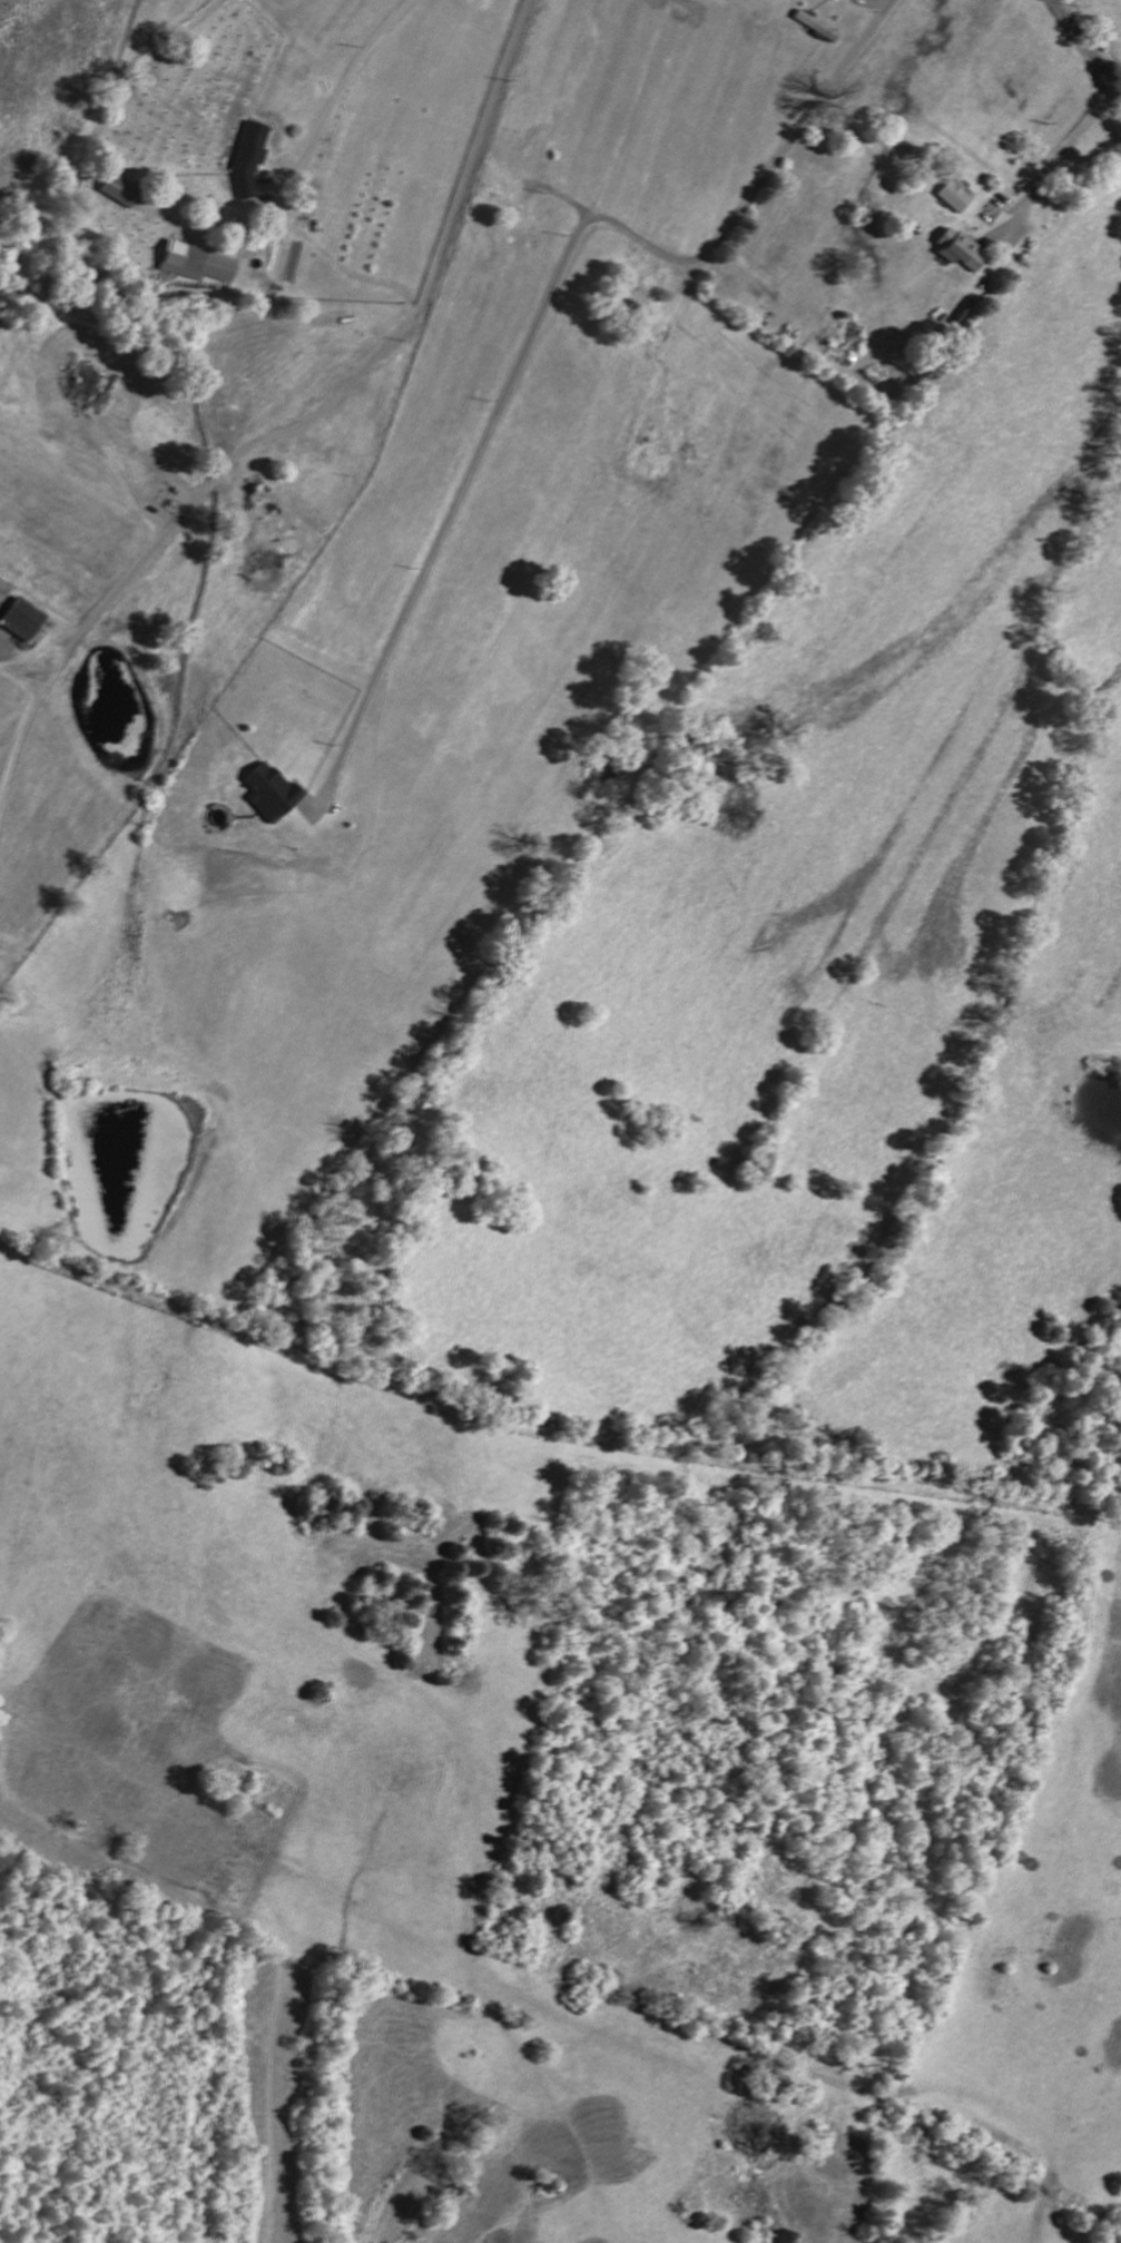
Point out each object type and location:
road: (1088, 43)
road: (327, 95)
building: (247, 159)
road: (1054, 161)
building: (117, 189)
building: (953, 196)
building: (956, 249)
building: (196, 260)
road: (540, 309)
road: (360, 367)
building: (643, 456)
building: (20, 619)
building: (268, 791)

